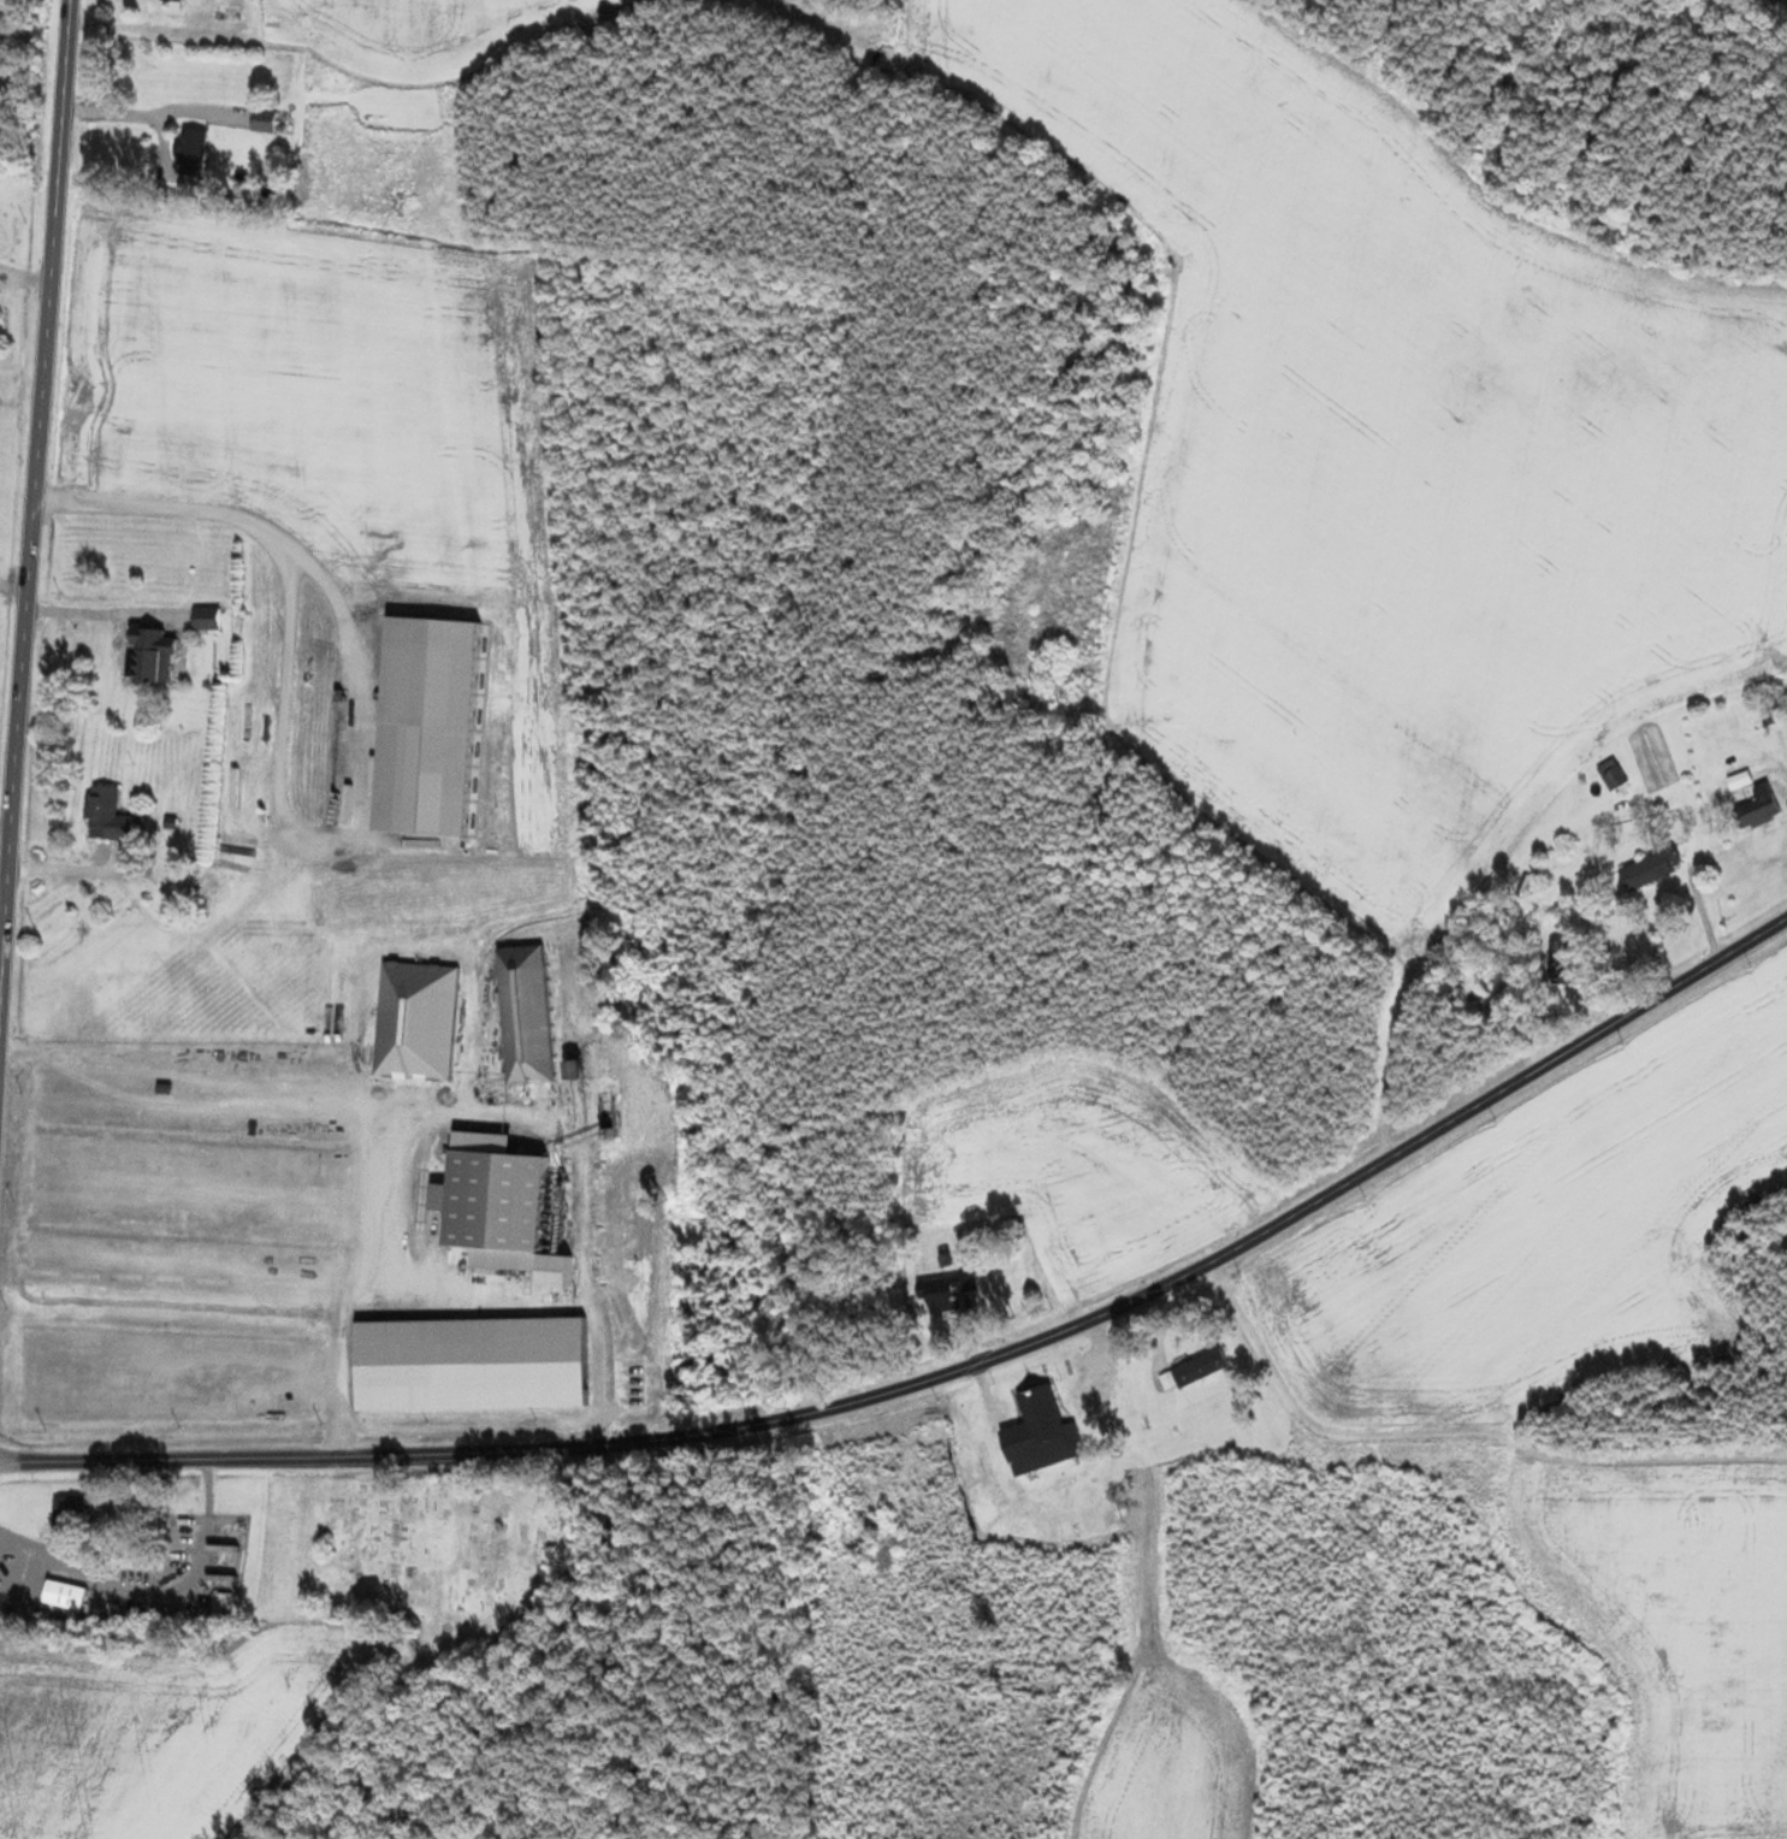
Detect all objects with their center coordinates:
building: (172, 1)
building: (264, 120)
building: (190, 152)
road: (32, 510)
road: (100, 613)
building: (206, 619)
building: (150, 656)
building: (1619, 776)
building: (102, 804)
building: (1761, 806)
building: (1651, 869)
building: (1558, 954)
power tower: (1752, 964)
building: (526, 1015)
power tower: (1622, 1042)
power tower: (1497, 1119)
power tower: (1367, 1198)
building: (495, 1211)
power tower: (1241, 1277)
building: (948, 1294)
power tower: (1054, 1311)
building: (1200, 1368)
road: (947, 1372)
power tower: (937, 1403)
power tower: (645, 1418)
power tower: (534, 1421)
power tower: (425, 1423)
power tower: (319, 1426)
power tower: (178, 1430)
power tower: (42, 1432)
building: (1041, 1432)
power tower: (787, 1443)
building: (71, 1510)
building: (64, 1596)
building: (221, 1604)

